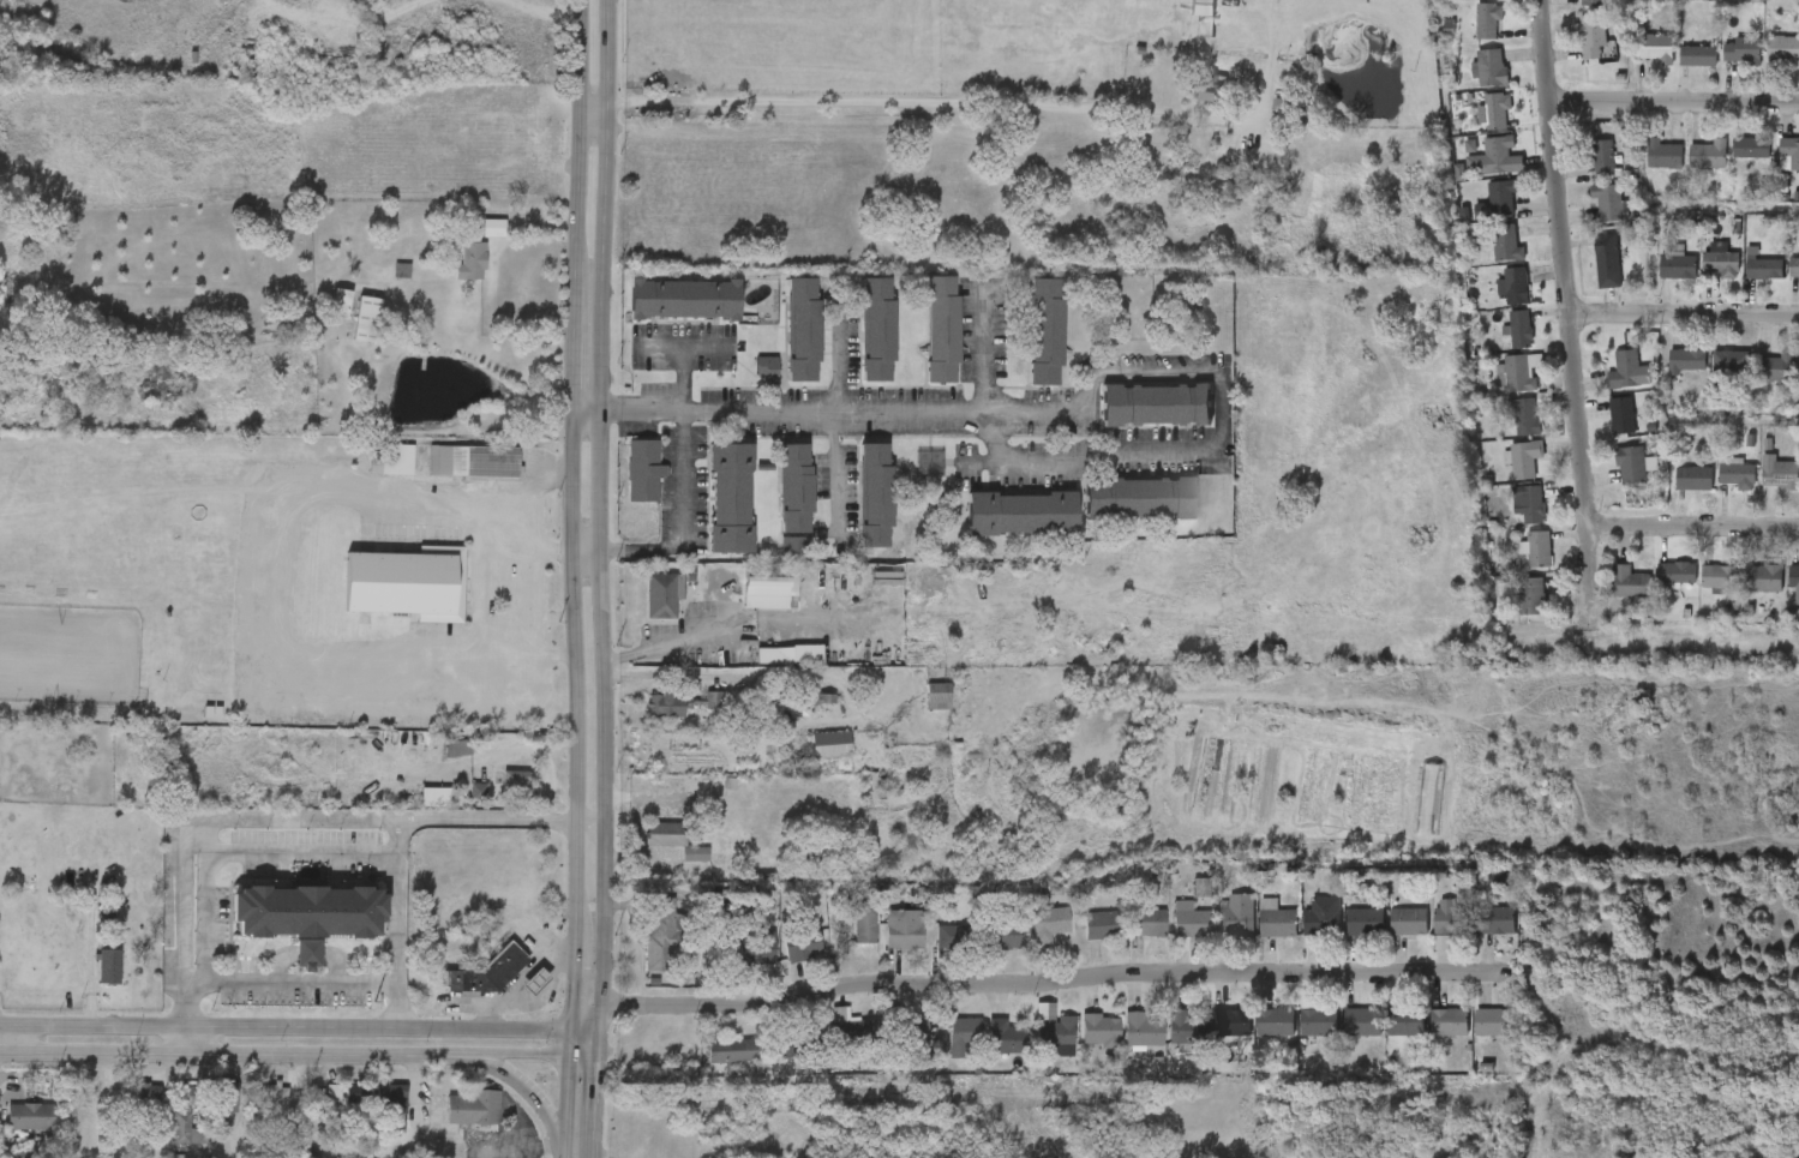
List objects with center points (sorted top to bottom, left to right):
building: (1591, 2)
building: (1473, 5)
building: (1572, 10)
building: (1181, 17)
building: (1486, 22)
building: (1465, 35)
building: (1590, 40)
building: (1654, 47)
building: (1782, 49)
building: (1740, 50)
building: (1570, 52)
building: (1697, 56)
building: (1635, 61)
building: (1764, 62)
building: (1722, 64)
building: (1491, 68)
building: (1795, 68)
building: (1678, 70)
building: (1469, 82)
road: (589, 102)
road: (925, 102)
road: (1673, 102)
building: (1187, 103)
building: (1495, 112)
building: (1476, 124)
building: (1750, 148)
road: (576, 150)
building: (1789, 151)
building: (1662, 155)
building: (1708, 156)
building: (1494, 158)
building: (1601, 158)
building: (1731, 161)
building: (1776, 166)
building: (1643, 168)
building: (1687, 168)
building: (1475, 170)
building: (1582, 172)
building: (1499, 197)
building: (1606, 203)
building: (1477, 214)
building: (1589, 216)
building: (1505, 242)
building: (475, 245)
building: (1486, 257)
building: (457, 259)
building: (1719, 259)
building: (1606, 260)
building: (1678, 266)
building: (1761, 266)
building: (1793, 268)
building: (1699, 274)
building: (1587, 275)
building: (1657, 281)
building: (1783, 281)
building: (1744, 282)
building: (1515, 286)
building: (340, 299)
building: (1495, 299)
building: (684, 300)
road: (1567, 301)
building: (322, 313)
road: (1684, 313)
building: (366, 317)
building: (803, 329)
building: (941, 329)
building: (1519, 329)
building: (876, 330)
building: (1045, 331)
building: (346, 332)
building: (1498, 342)
building: (782, 343)
building: (857, 343)
building: (921, 343)
building: (1026, 343)
road: (684, 347)
road: (982, 347)
road: (576, 356)
building: (1686, 361)
building: (1731, 365)
building: (766, 366)
building: (1775, 367)
building: (1624, 370)
building: (1519, 372)
building: (1666, 373)
building: (1709, 376)
building: (746, 380)
building: (1756, 382)
building: (1788, 383)
building: (1607, 384)
building: (1498, 385)
building: (1153, 404)
road: (602, 410)
road: (778, 410)
road: (835, 415)
building: (1620, 415)
building: (1525, 416)
road: (1221, 418)
building: (1601, 428)
building: (1505, 430)
building: (396, 458)
building: (1523, 460)
building: (472, 461)
building: (1630, 464)
building: (643, 469)
building: (1504, 472)
building: (372, 473)
building: (1777, 473)
building: (454, 474)
building: (1737, 475)
building: (1612, 478)
building: (1693, 479)
building: (624, 484)
building: (1716, 486)
building: (1759, 486)
building: (1673, 492)
building: (796, 494)
building: (875, 494)
building: (730, 496)
building: (1139, 497)
road: (683, 500)
building: (775, 500)
building: (1531, 504)
building: (854, 506)
building: (710, 510)
building: (1021, 511)
building: (1512, 517)
road: (1695, 523)
building: (168, 547)
building: (1539, 550)
building: (773, 556)
building: (1516, 562)
building: (1675, 571)
building: (1793, 575)
building: (1719, 576)
building: (1763, 578)
building: (1629, 582)
building: (1656, 586)
building: (768, 587)
building: (1698, 589)
building: (1745, 592)
building: (664, 594)
building: (1782, 594)
building: (1608, 595)
building: (388, 596)
building: (1533, 598)
road: (271, 600)
building: (750, 605)
building: (643, 607)
building: (1512, 610)
road: (576, 616)
road: (547, 652)
building: (184, 656)
building: (774, 667)
building: (937, 695)
building: (917, 708)
building: (803, 710)
building: (694, 713)
building: (649, 718)
building: (192, 725)
building: (830, 743)
building: (810, 757)
building: (437, 761)
building: (496, 793)
building: (458, 804)
road: (264, 818)
road: (589, 821)
building: (678, 839)
building: (646, 846)
road: (229, 853)
building: (674, 866)
building: (740, 890)
building: (1181, 900)
building: (308, 910)
building: (1321, 916)
building: (1235, 917)
building: (1451, 917)
building: (1189, 919)
building: (1276, 919)
building: (1495, 919)
building: (1408, 920)
building: (1048, 922)
building: (1147, 922)
building: (1365, 922)
building: (863, 923)
building: (1102, 924)
road: (397, 925)
road: (601, 928)
building: (903, 928)
building: (1216, 929)
building: (1302, 929)
building: (1425, 929)
building: (659, 931)
building: (1169, 932)
building: (1255, 932)
building: (1000, 934)
building: (1476, 934)
building: (954, 935)
building: (1127, 935)
building: (1344, 935)
building: (1387, 935)
building: (844, 936)
building: (1029, 937)
building: (1081, 937)
road: (575, 941)
building: (883, 942)
building: (803, 944)
building: (641, 946)
building: (755, 946)
building: (930, 949)
building: (984, 950)
building: (733, 960)
building: (782, 960)
building: (109, 966)
building: (288, 966)
building: (487, 971)
building: (89, 979)
building: (534, 979)
road: (1038, 983)
road: (300, 984)
building: (515, 992)
building: (1362, 1020)
building: (1318, 1021)
building: (1231, 1022)
building: (1275, 1022)
building: (1407, 1022)
building: (1450, 1022)
building: (1493, 1022)
building: (1186, 1027)
building: (1099, 1028)
building: (1143, 1028)
building: (853, 1030)
road: (298, 1031)
building: (915, 1032)
building: (824, 1033)
building: (965, 1033)
building: (1210, 1034)
building: (1254, 1034)
building: (1338, 1034)
building: (1428, 1034)
building: (1469, 1034)
building: (1055, 1036)
building: (1297, 1036)
building: (1386, 1036)
building: (1006, 1037)
building: (1161, 1039)
road: (14, 1043)
building: (1035, 1043)
building: (1080, 1043)
building: (1122, 1043)
building: (794, 1044)
building: (901, 1045)
building: (945, 1048)
building: (731, 1050)
building: (987, 1050)
road: (298, 1060)
building: (712, 1063)
building: (763, 1063)
building: (334, 1093)
building: (356, 1093)
building: (150, 1096)
building: (227, 1097)
road: (592, 1097)
road: (529, 1098)
building: (395, 1099)
building: (128, 1105)
building: (337, 1105)
building: (473, 1108)
building: (210, 1109)
building: (372, 1109)
road: (568, 1109)
building: (30, 1117)
building: (186, 1117)
building: (454, 1121)
building: (17, 1129)
building: (167, 1132)

